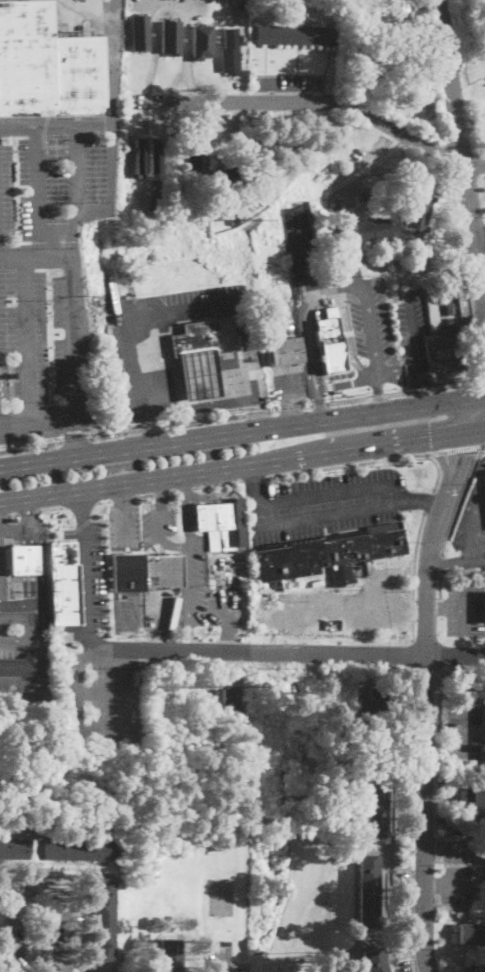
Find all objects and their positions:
road: (113, 6)
road: (170, 6)
building: (365, 6)
building: (399, 8)
building: (366, 21)
building: (140, 31)
building: (355, 33)
building: (298, 35)
building: (171, 37)
building: (200, 41)
building: (229, 52)
building: (353, 54)
road: (468, 56)
building: (26, 58)
building: (392, 61)
building: (79, 75)
road: (318, 102)
road: (109, 108)
road: (54, 125)
building: (176, 130)
building: (256, 146)
road: (463, 153)
building: (138, 155)
building: (153, 155)
building: (189, 155)
road: (369, 160)
road: (74, 170)
building: (219, 180)
parking lot: (54, 184)
road: (38, 190)
building: (202, 199)
building: (417, 213)
power tower: (258, 215)
building: (372, 231)
road: (480, 239)
road: (34, 256)
road: (310, 273)
road: (328, 296)
road: (409, 302)
road: (181, 307)
building: (450, 308)
building: (447, 327)
road: (368, 328)
parking lot: (46, 332)
road: (72, 336)
building: (193, 337)
road: (28, 339)
building: (329, 343)
building: (285, 351)
road: (310, 356)
building: (196, 373)
building: (2, 376)
building: (12, 376)
road: (479, 381)
road: (346, 385)
road: (379, 392)
road: (484, 396)
road: (282, 409)
road: (37, 420)
road: (242, 433)
traffic signals: (430, 439)
road: (77, 440)
road: (31, 447)
road: (454, 448)
traffic signals: (461, 456)
road: (365, 461)
road: (242, 467)
road: (253, 477)
road: (217, 483)
road: (253, 484)
road: (185, 488)
road: (173, 490)
road: (182, 490)
road: (160, 491)
road: (336, 491)
road: (144, 494)
road: (460, 497)
road: (123, 498)
road: (428, 499)
road: (103, 500)
road: (420, 501)
road: (81, 503)
parking lot: (324, 503)
road: (80, 504)
road: (52, 507)
road: (471, 508)
road: (97, 509)
road: (29, 512)
road: (123, 515)
road: (318, 515)
road: (187, 519)
road: (29, 520)
road: (83, 523)
road: (162, 523)
building: (215, 524)
road: (476, 524)
parking lot: (124, 525)
parking lot: (159, 529)
building: (324, 555)
building: (23, 557)
road: (31, 557)
road: (477, 557)
road: (447, 561)
road: (439, 564)
building: (144, 571)
road: (414, 575)
parking lot: (87, 579)
building: (245, 580)
building: (62, 583)
road: (85, 585)
road: (439, 586)
parking lot: (205, 591)
road: (188, 592)
road: (26, 602)
parking lot: (465, 605)
road: (445, 606)
road: (463, 608)
parking lot: (127, 613)
road: (117, 649)
road: (312, 653)
road: (413, 655)
building: (21, 666)
road: (465, 671)
road: (424, 680)
road: (107, 693)
building: (219, 697)
parking lot: (102, 700)
building: (484, 701)
road: (78, 714)
parking lot: (464, 721)
road: (464, 722)
building: (484, 747)
building: (471, 797)
building: (376, 806)
road: (410, 820)
parking lot: (459, 843)
road: (433, 844)
road: (456, 844)
building: (14, 848)
building: (79, 849)
road: (432, 884)
road: (457, 884)
parking lot: (458, 884)
road: (38, 885)
building: (368, 891)
building: (103, 919)
building: (471, 933)
building: (169, 955)
building: (374, 960)
road: (224, 961)
building: (480, 969)
building: (95, 971)

